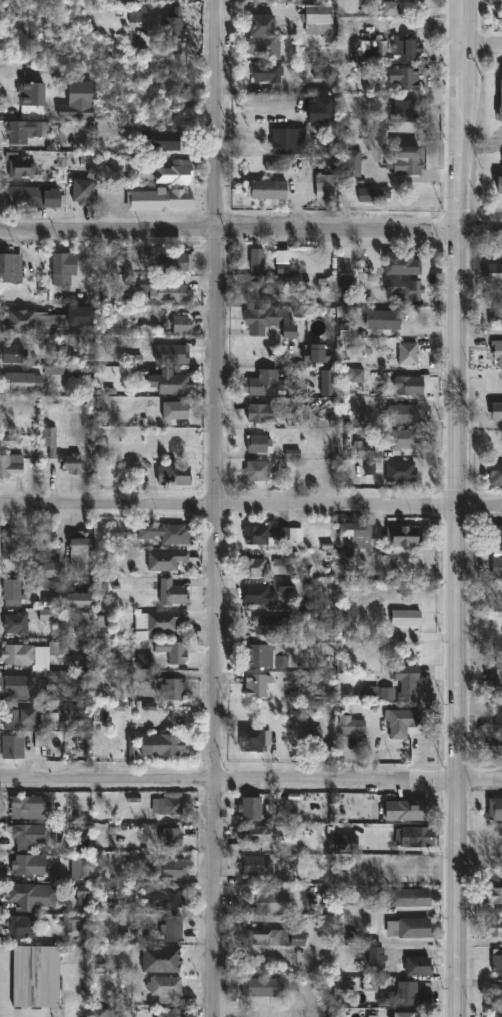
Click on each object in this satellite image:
building: (262, 0)
building: (315, 19)
building: (172, 29)
building: (261, 36)
road: (484, 43)
building: (403, 46)
building: (372, 51)
building: (266, 72)
building: (402, 77)
building: (27, 93)
building: (500, 103)
building: (403, 111)
building: (346, 126)
building: (22, 131)
building: (287, 142)
building: (404, 161)
building: (351, 163)
building: (17, 166)
building: (173, 173)
building: (500, 185)
building: (261, 189)
building: (80, 192)
building: (371, 194)
building: (32, 198)
building: (159, 200)
road: (251, 234)
building: (253, 260)
building: (173, 262)
building: (399, 264)
building: (9, 268)
building: (57, 269)
building: (492, 273)
building: (256, 288)
building: (402, 289)
building: (161, 291)
building: (344, 292)
building: (497, 311)
building: (43, 320)
building: (380, 320)
building: (268, 321)
building: (181, 326)
building: (496, 351)
building: (311, 353)
building: (10, 354)
building: (171, 354)
building: (406, 354)
building: (350, 375)
building: (264, 382)
building: (20, 383)
building: (170, 384)
building: (406, 385)
building: (327, 389)
building: (174, 410)
building: (495, 411)
building: (270, 414)
building: (401, 414)
building: (400, 439)
building: (257, 444)
building: (361, 450)
building: (59, 454)
building: (10, 466)
building: (255, 471)
building: (399, 473)
building: (495, 474)
building: (170, 475)
road: (251, 507)
road: (221, 508)
road: (457, 508)
building: (163, 533)
building: (269, 535)
building: (352, 536)
building: (404, 536)
building: (495, 537)
building: (13, 547)
building: (79, 550)
building: (163, 560)
building: (254, 567)
building: (496, 567)
building: (45, 570)
building: (9, 591)
building: (169, 591)
building: (257, 594)
building: (74, 597)
building: (399, 611)
building: (162, 620)
building: (15, 622)
building: (270, 624)
building: (58, 649)
building: (171, 649)
building: (16, 653)
building: (260, 653)
building: (497, 656)
building: (405, 682)
building: (80, 683)
building: (254, 684)
building: (18, 687)
building: (172, 687)
building: (380, 693)
building: (497, 710)
building: (69, 713)
building: (15, 716)
building: (400, 717)
building: (349, 725)
building: (310, 737)
building: (250, 739)
building: (164, 744)
building: (495, 744)
building: (11, 746)
road: (250, 782)
building: (167, 803)
building: (24, 807)
building: (249, 808)
building: (494, 809)
building: (404, 810)
building: (22, 832)
building: (260, 833)
building: (420, 836)
building: (168, 839)
building: (344, 840)
building: (255, 865)
building: (29, 866)
building: (168, 867)
building: (493, 894)
building: (23, 895)
building: (167, 896)
building: (416, 897)
building: (262, 902)
building: (20, 926)
building: (494, 926)
building: (170, 928)
building: (407, 928)
building: (275, 937)
building: (373, 956)
building: (158, 959)
building: (496, 960)
building: (416, 965)
building: (33, 976)
building: (260, 986)
building: (162, 987)
building: (496, 993)
building: (401, 995)
building: (69, 1009)
building: (100, 1012)
building: (168, 1014)
building: (409, 1014)
building: (495, 1014)

